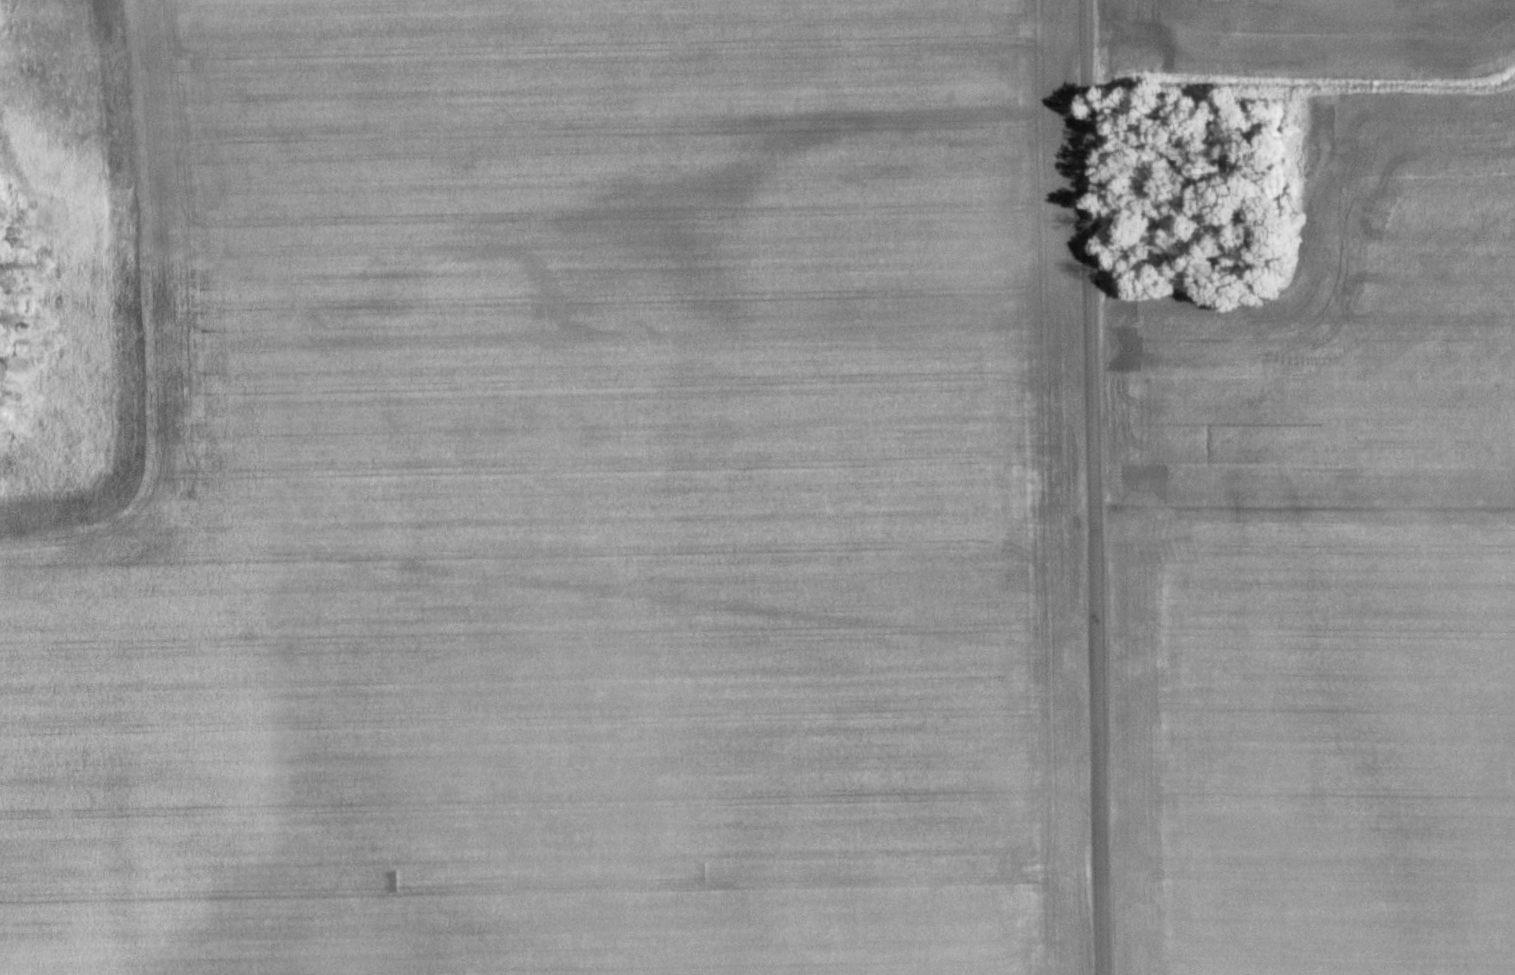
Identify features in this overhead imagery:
road: (1084, 487)

